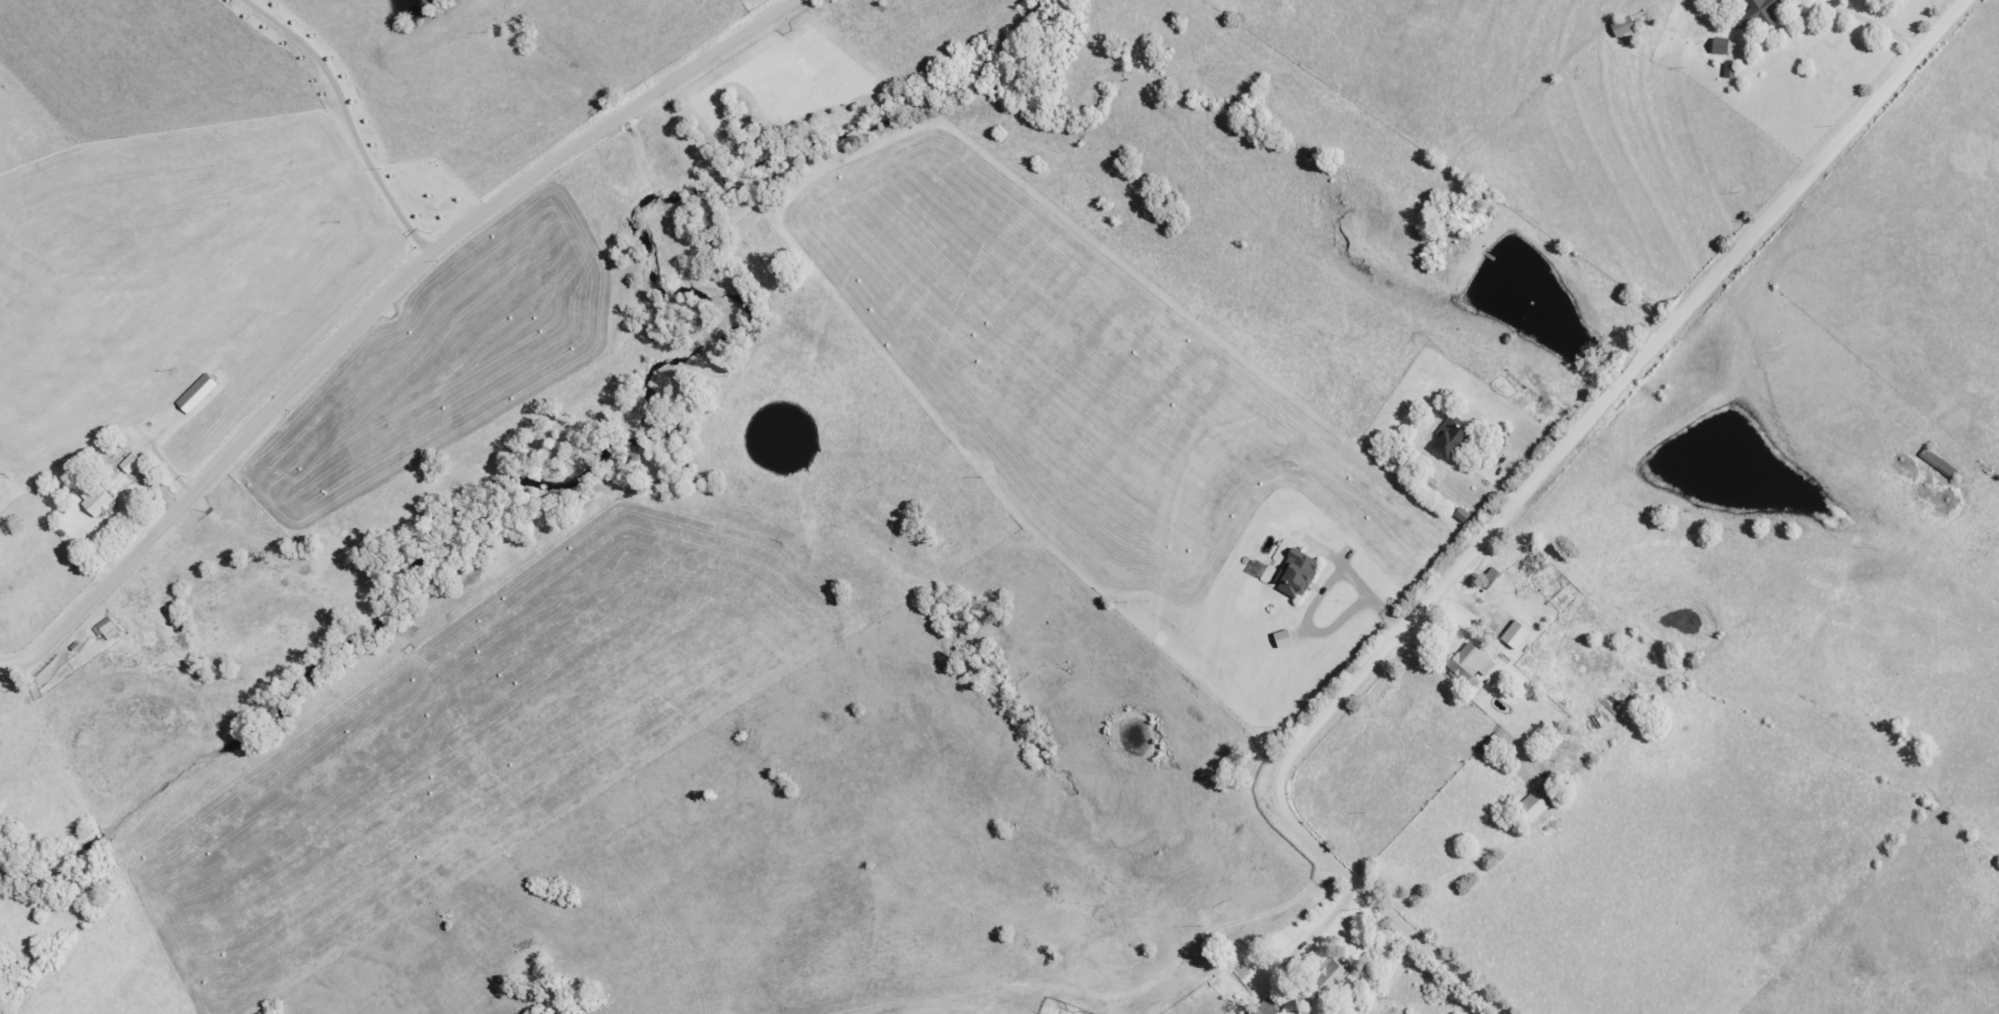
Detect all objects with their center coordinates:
building: (1755, 13)
building: (1718, 47)
road: (351, 118)
road: (371, 308)
building: (195, 395)
building: (1445, 442)
building: (129, 465)
building: (96, 503)
road: (1512, 508)
building: (1294, 576)
building: (105, 631)
building: (1513, 636)
building: (1280, 640)
building: (1467, 666)
road: (20, 696)
building: (1529, 810)
building: (1325, 979)
building: (1264, 1008)

